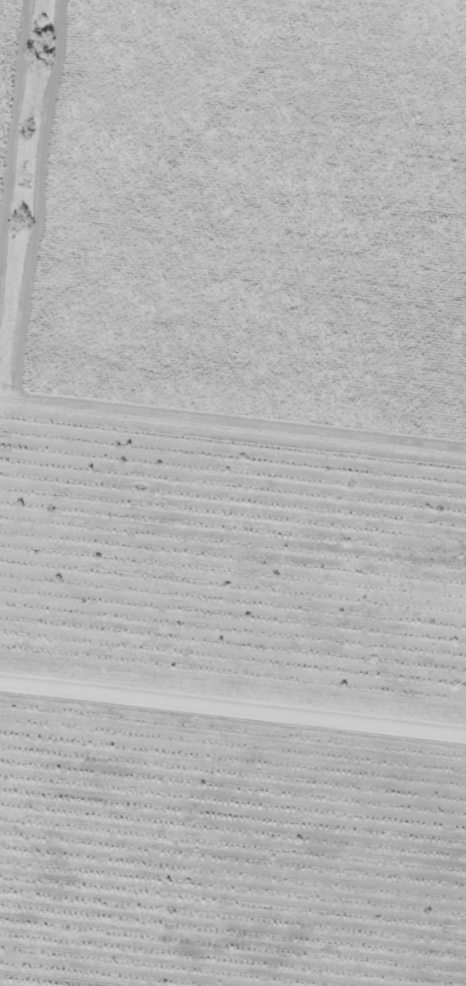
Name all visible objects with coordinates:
road: (233, 713)

